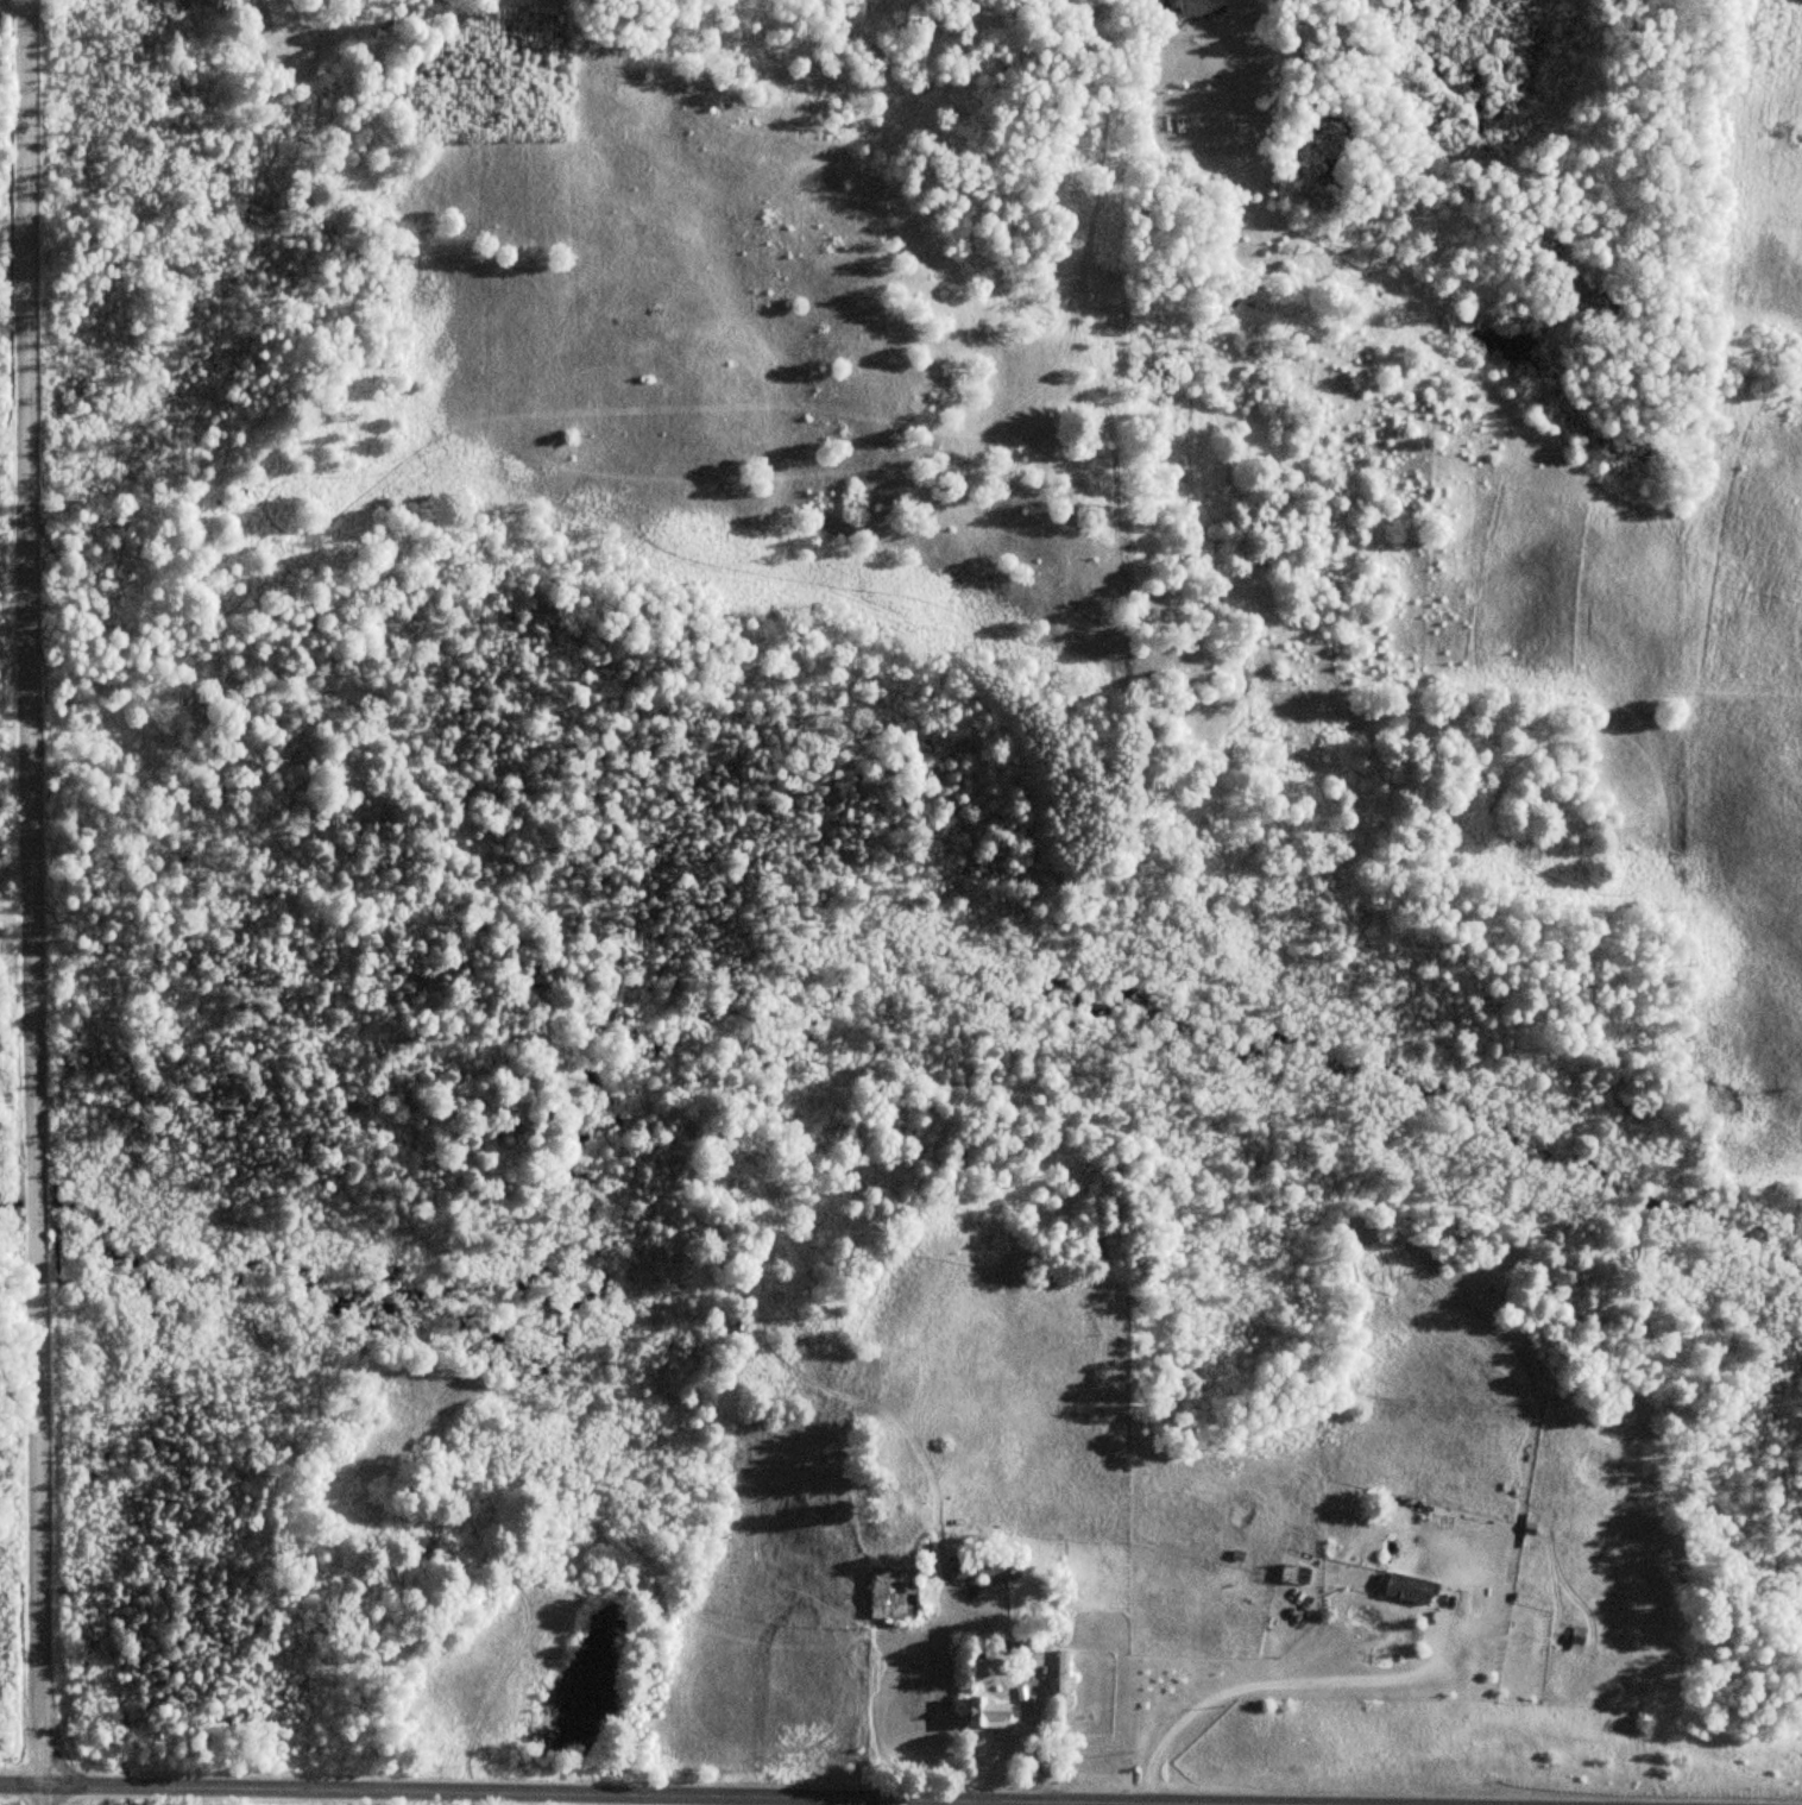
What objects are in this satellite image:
building: (1199, 7)
road: (38, 892)
building: (985, 1566)
building: (1409, 1586)
building: (893, 1591)
building: (1061, 1677)
building: (993, 1712)
road: (39, 1794)
road: (571, 1794)

